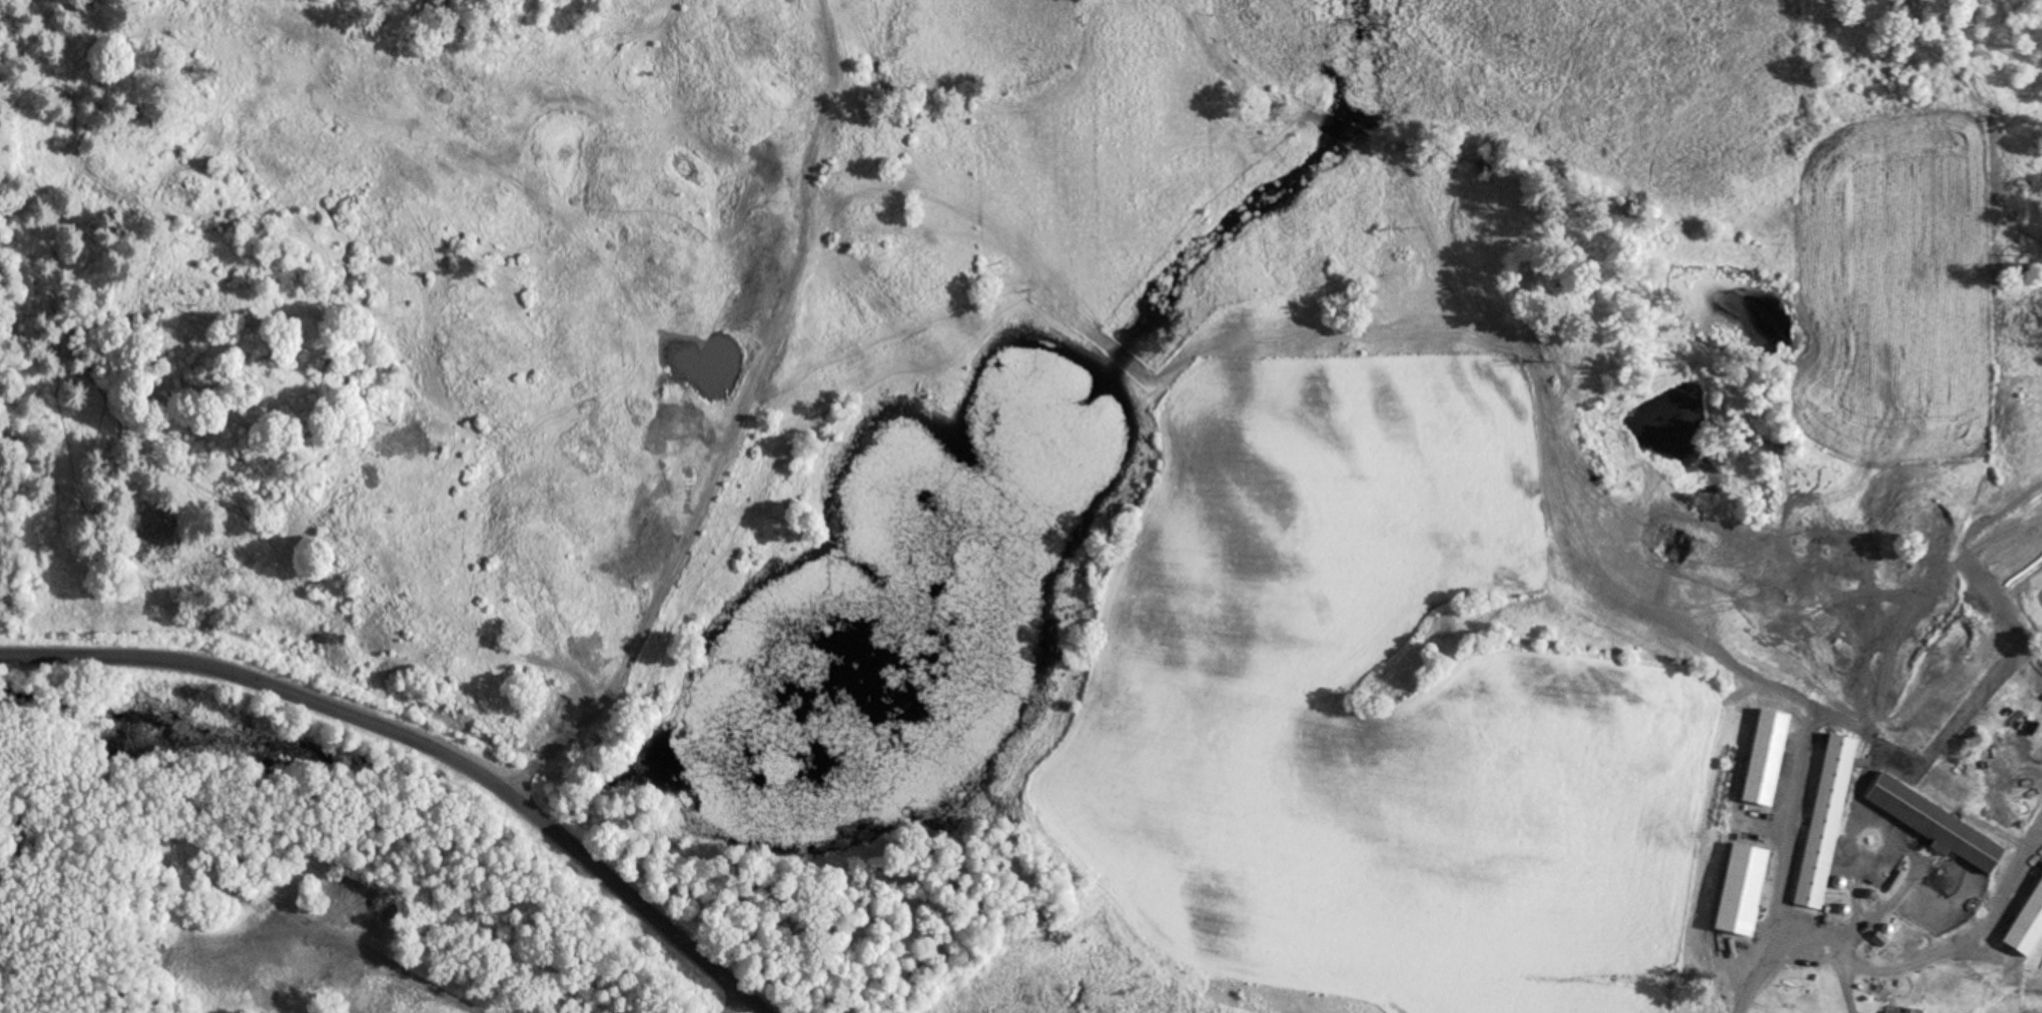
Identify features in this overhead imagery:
road: (442, 736)
building: (1826, 822)
building: (1937, 824)
building: (2028, 927)

